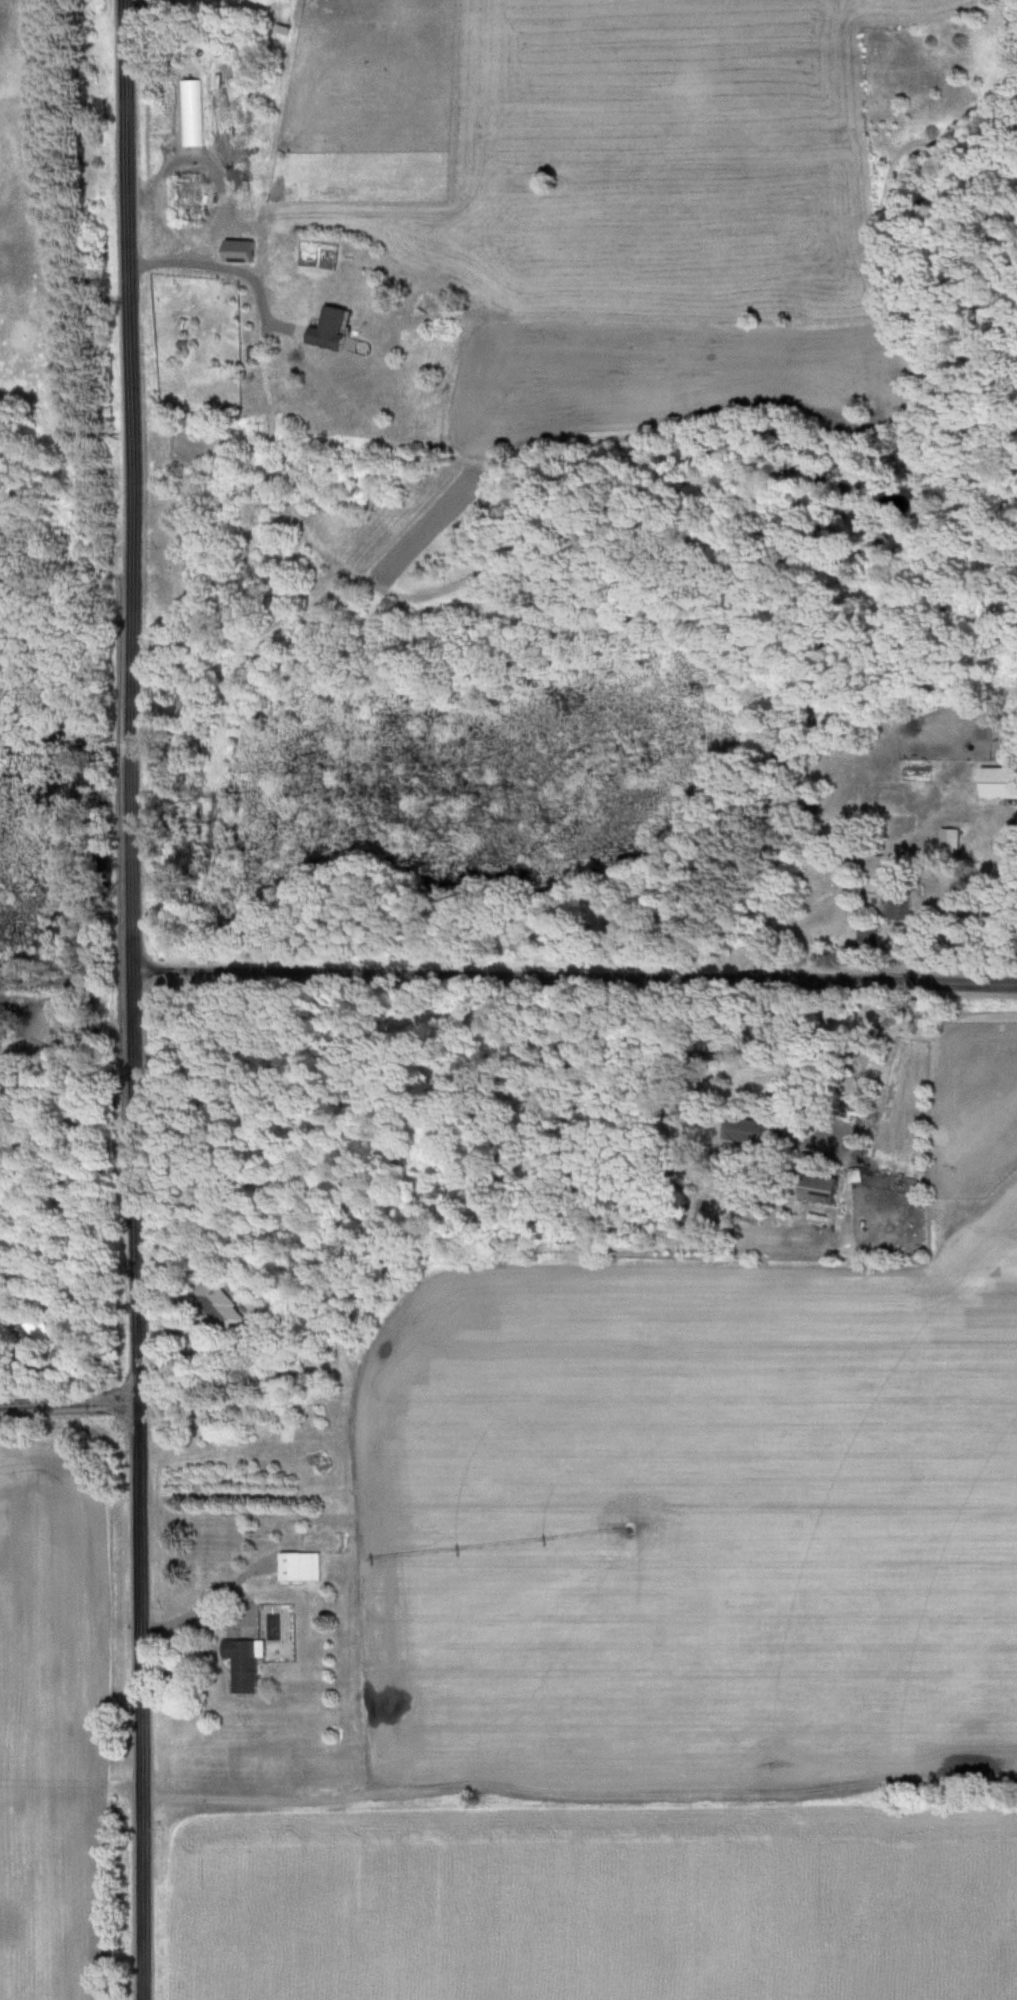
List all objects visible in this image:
building: (239, 252)
road: (231, 270)
building: (331, 330)
building: (1000, 783)
building: (949, 845)
building: (898, 895)
building: (867, 936)
road: (576, 981)
road: (135, 1000)
road: (858, 1051)
building: (751, 1132)
building: (818, 1189)
building: (222, 1307)
building: (36, 1337)
road: (70, 1408)
building: (300, 1568)
road: (228, 1596)
building: (243, 1666)

